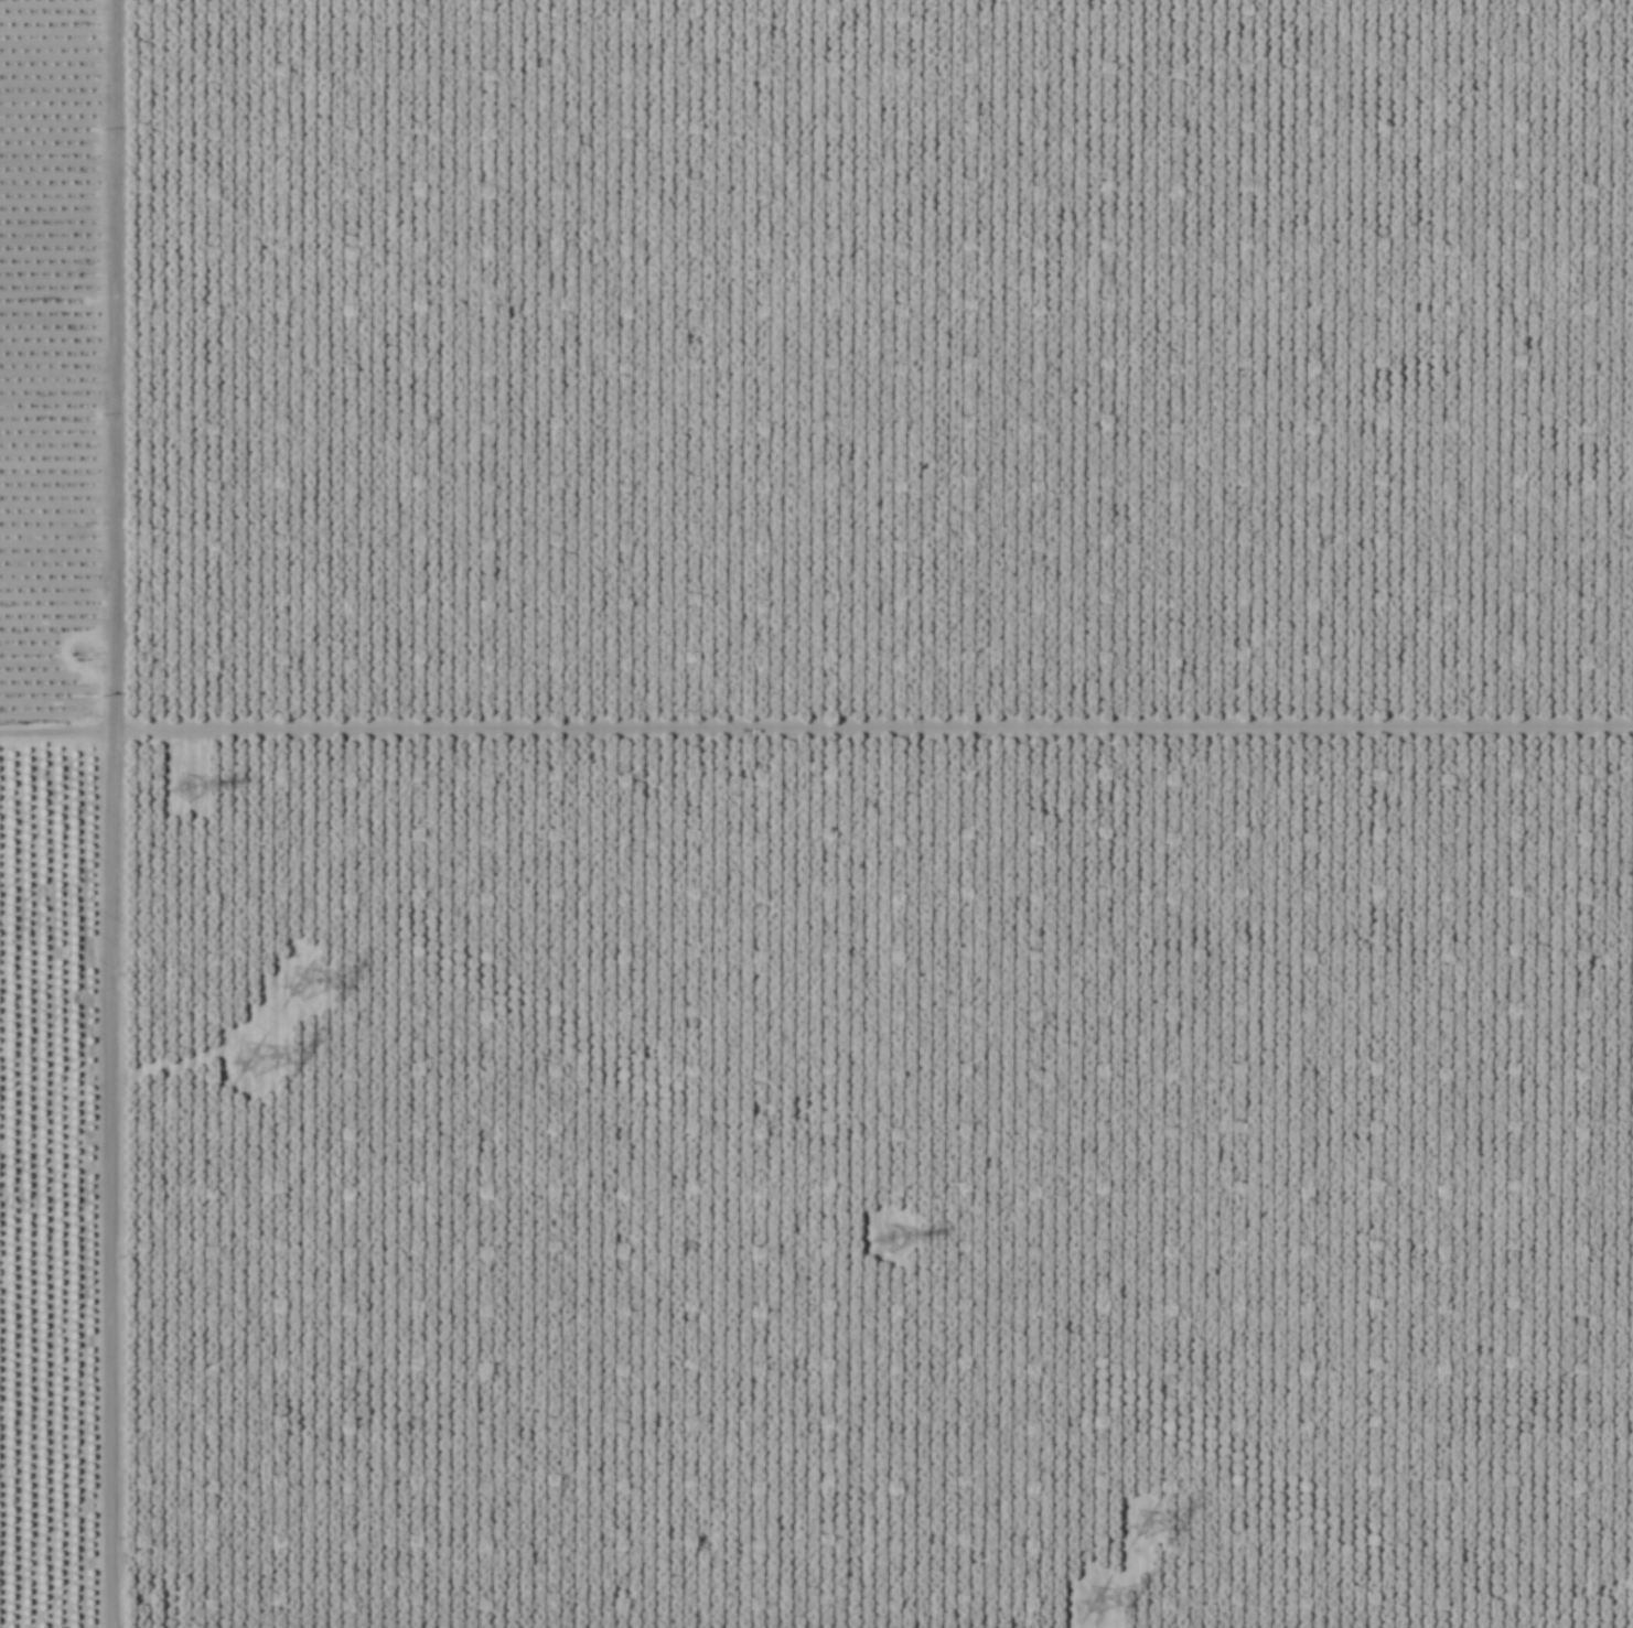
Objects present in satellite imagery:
power tower: (185, 789)
road: (133, 813)
crop: (816, 813)
power tower: (307, 986)
power tower: (259, 1069)
power tower: (890, 1238)
power tower: (1148, 1523)
power tower: (1103, 1599)

